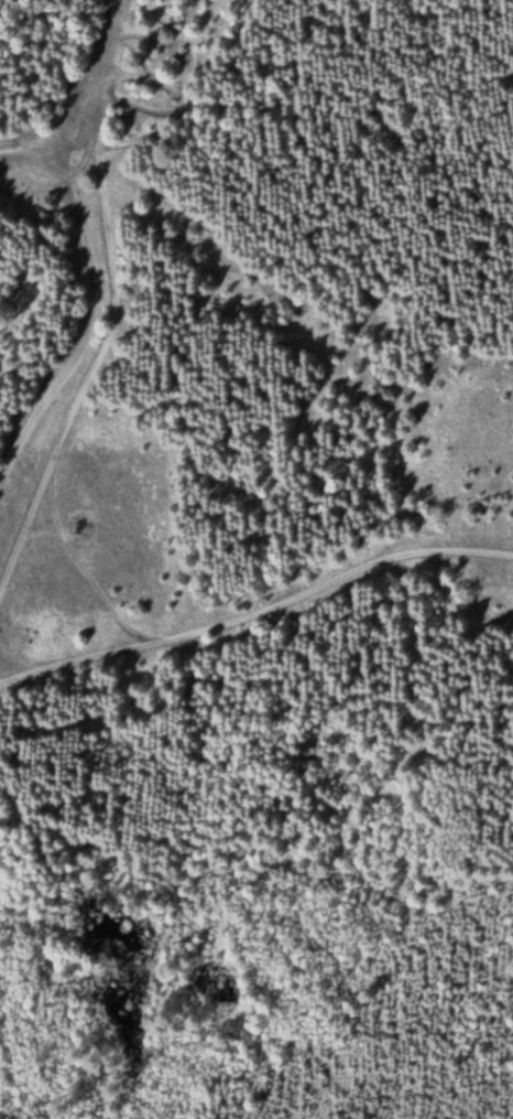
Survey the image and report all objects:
road: (99, 19)
road: (15, 23)
road: (72, 110)
road: (112, 318)
road: (79, 330)
petroleum well: (76, 524)
road: (87, 562)
road: (255, 604)

